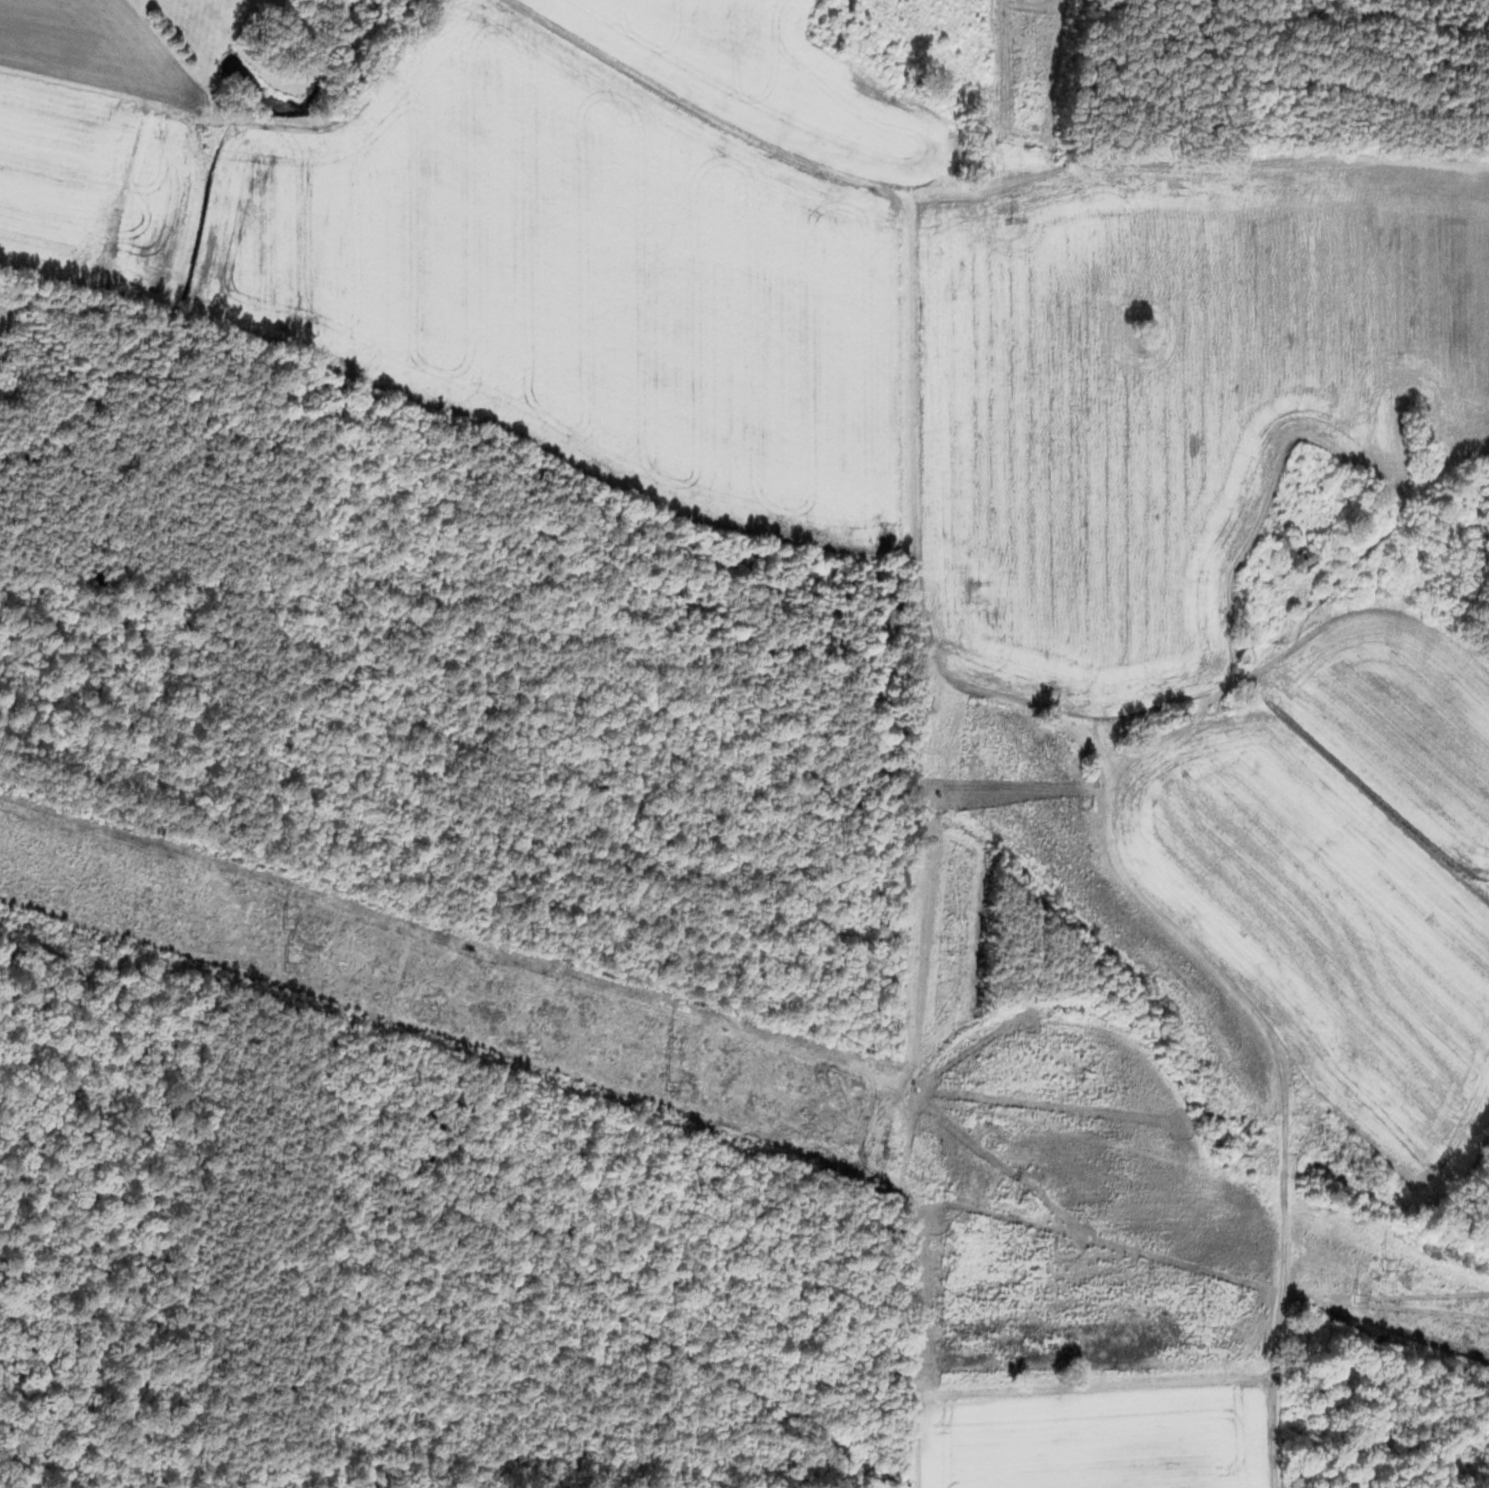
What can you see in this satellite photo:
building: (1291, 551)
power tower: (289, 921)
road: (1246, 1002)
power tower: (669, 1041)
power tower: (986, 1139)
power tower: (1381, 1260)

